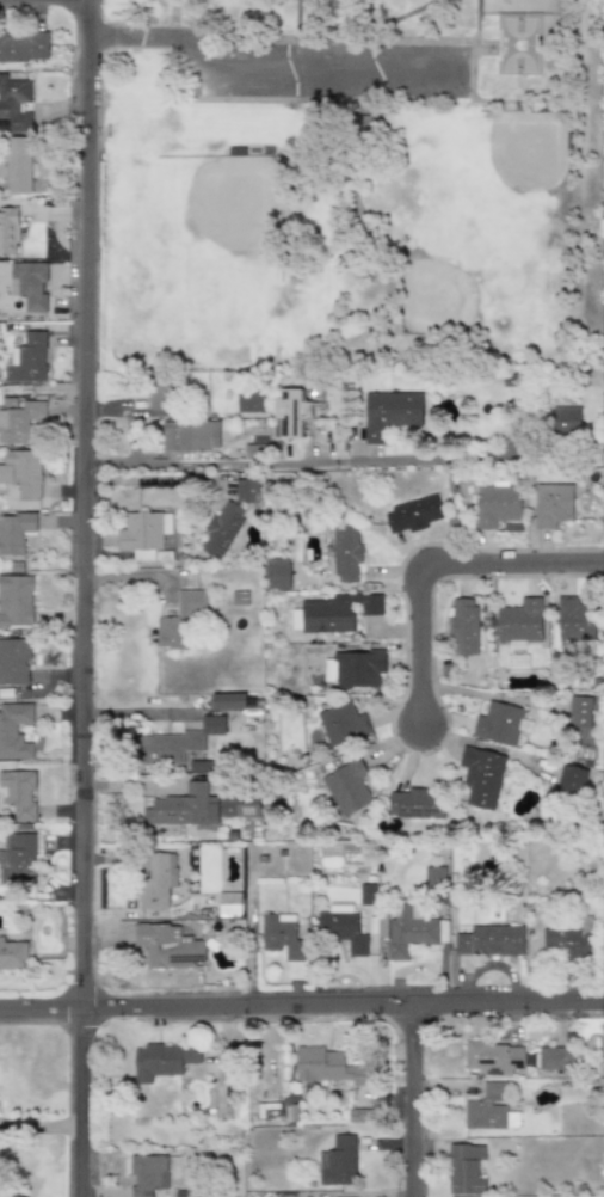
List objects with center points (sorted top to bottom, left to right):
road: (349, 6)
road: (173, 12)
road: (383, 22)
road: (323, 42)
building: (23, 47)
road: (260, 67)
road: (477, 90)
building: (14, 103)
road: (323, 103)
building: (16, 164)
park: (352, 191)
building: (7, 231)
building: (29, 284)
building: (27, 358)
building: (158, 389)
building: (248, 400)
building: (290, 411)
building: (389, 413)
building: (565, 419)
building: (19, 422)
building: (190, 435)
road: (279, 462)
building: (21, 472)
building: (245, 490)
building: (551, 504)
building: (495, 505)
building: (411, 514)
building: (221, 529)
building: (14, 533)
building: (143, 533)
building: (344, 553)
road: (432, 571)
building: (277, 573)
road: (88, 597)
building: (239, 597)
building: (16, 601)
building: (333, 612)
building: (573, 620)
building: (179, 621)
building: (519, 621)
building: (462, 626)
building: (14, 661)
building: (352, 669)
building: (228, 700)
building: (579, 712)
building: (341, 723)
building: (500, 723)
building: (14, 730)
building: (175, 743)
building: (481, 775)
building: (571, 779)
building: (346, 787)
building: (18, 793)
building: (415, 803)
building: (201, 806)
building: (17, 857)
building: (160, 879)
building: (365, 894)
building: (229, 904)
building: (341, 927)
building: (281, 933)
building: (489, 940)
building: (567, 943)
building: (168, 946)
building: (12, 954)
road: (302, 1006)
building: (493, 1057)
building: (554, 1058)
building: (162, 1060)
building: (325, 1066)
road: (418, 1101)
building: (486, 1109)
road: (42, 1125)
building: (338, 1161)
building: (464, 1168)
building: (147, 1174)

